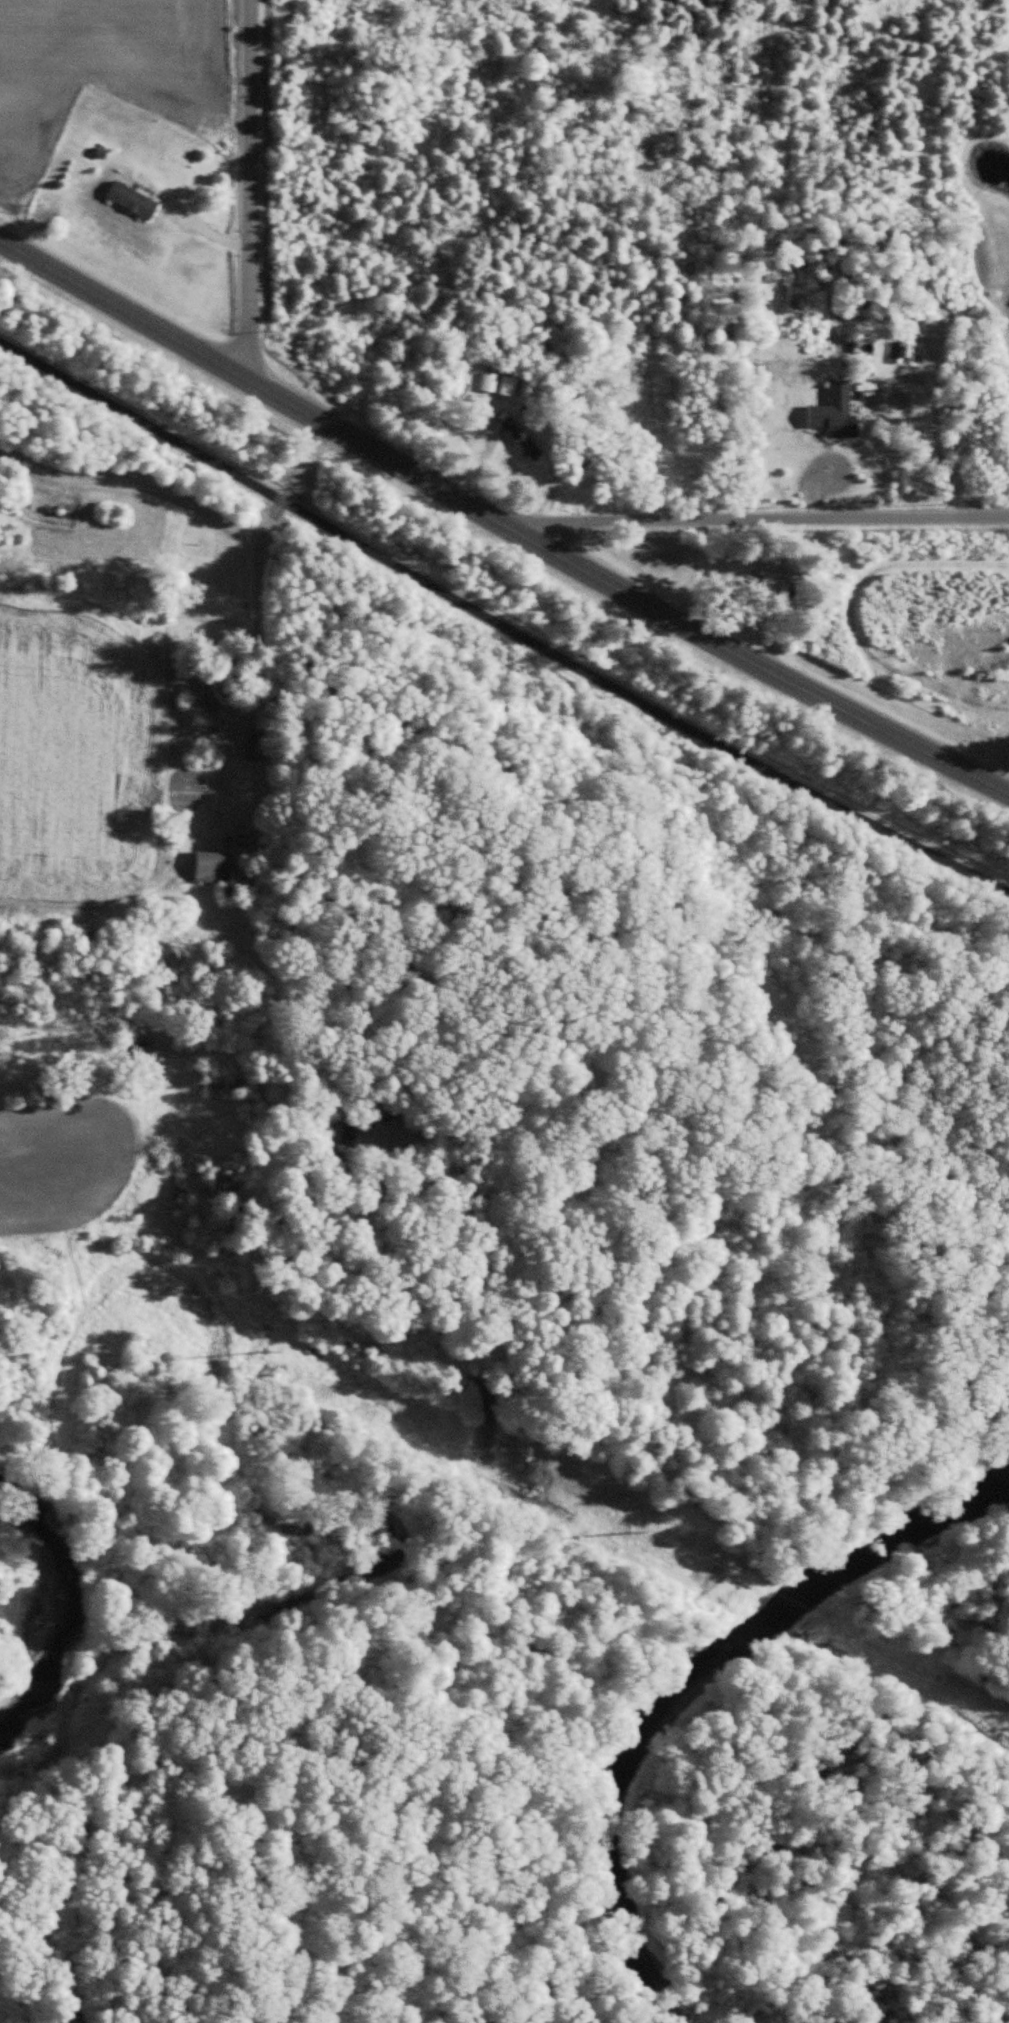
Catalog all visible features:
road: (254, 193)
building: (133, 203)
building: (842, 413)
building: (522, 440)
building: (588, 463)
road: (129, 475)
road: (757, 522)
road: (502, 523)
building: (766, 566)
road: (501, 623)
road: (258, 688)
building: (214, 689)
building: (215, 869)
power tower: (266, 1346)
power tower: (631, 1526)
river: (51, 1618)
river: (712, 1695)

